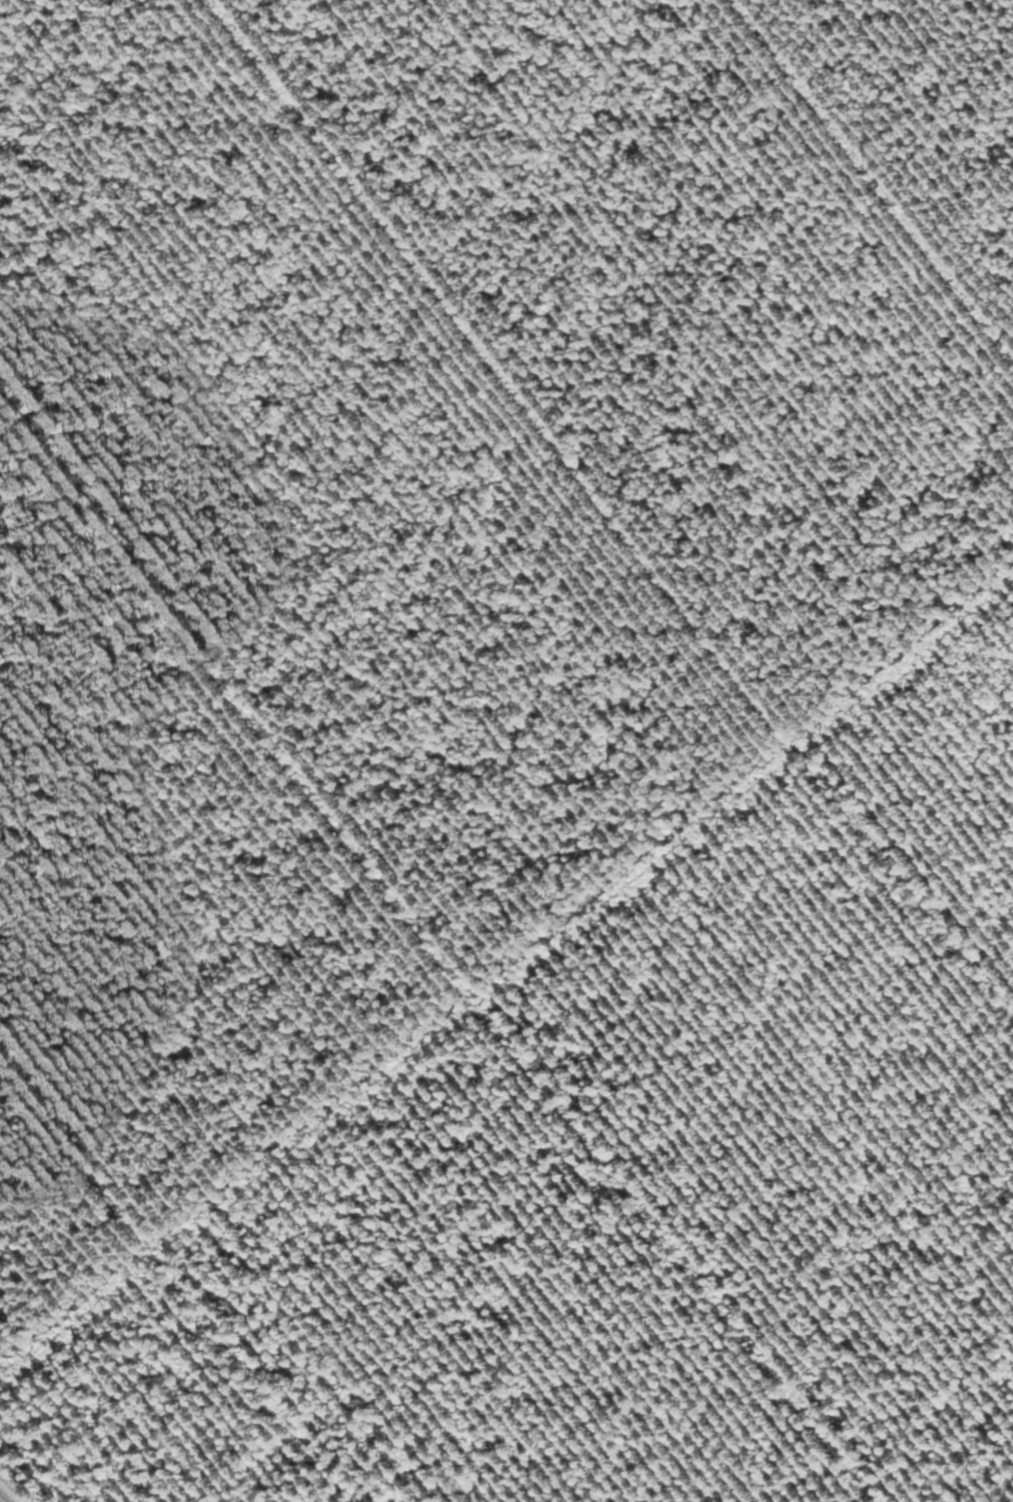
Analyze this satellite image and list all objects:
road: (5, 1496)

